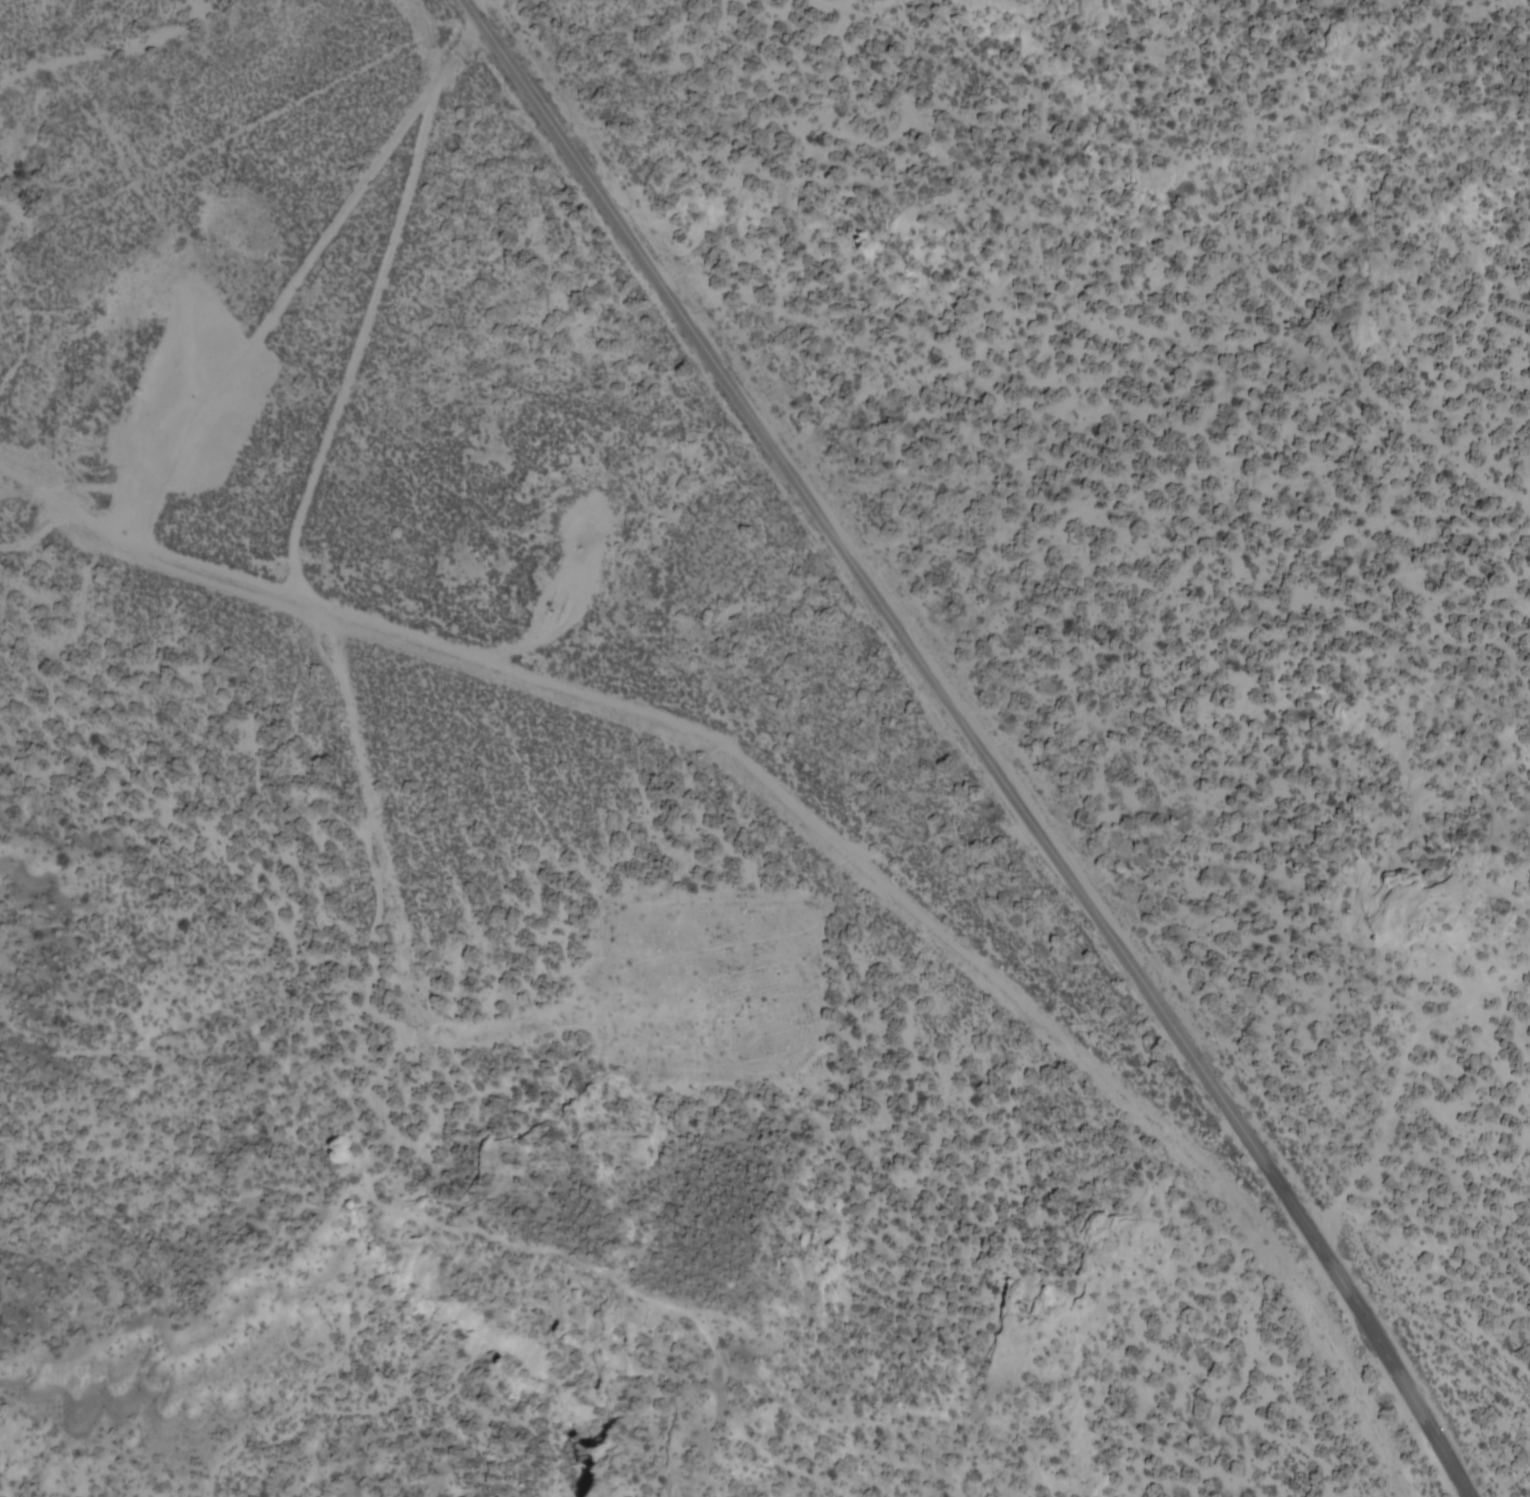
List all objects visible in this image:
road: (485, 7)
river: (105, 60)
river: (10, 292)
road: (373, 304)
road: (278, 309)
road: (22, 465)
road: (319, 603)
road: (985, 742)

